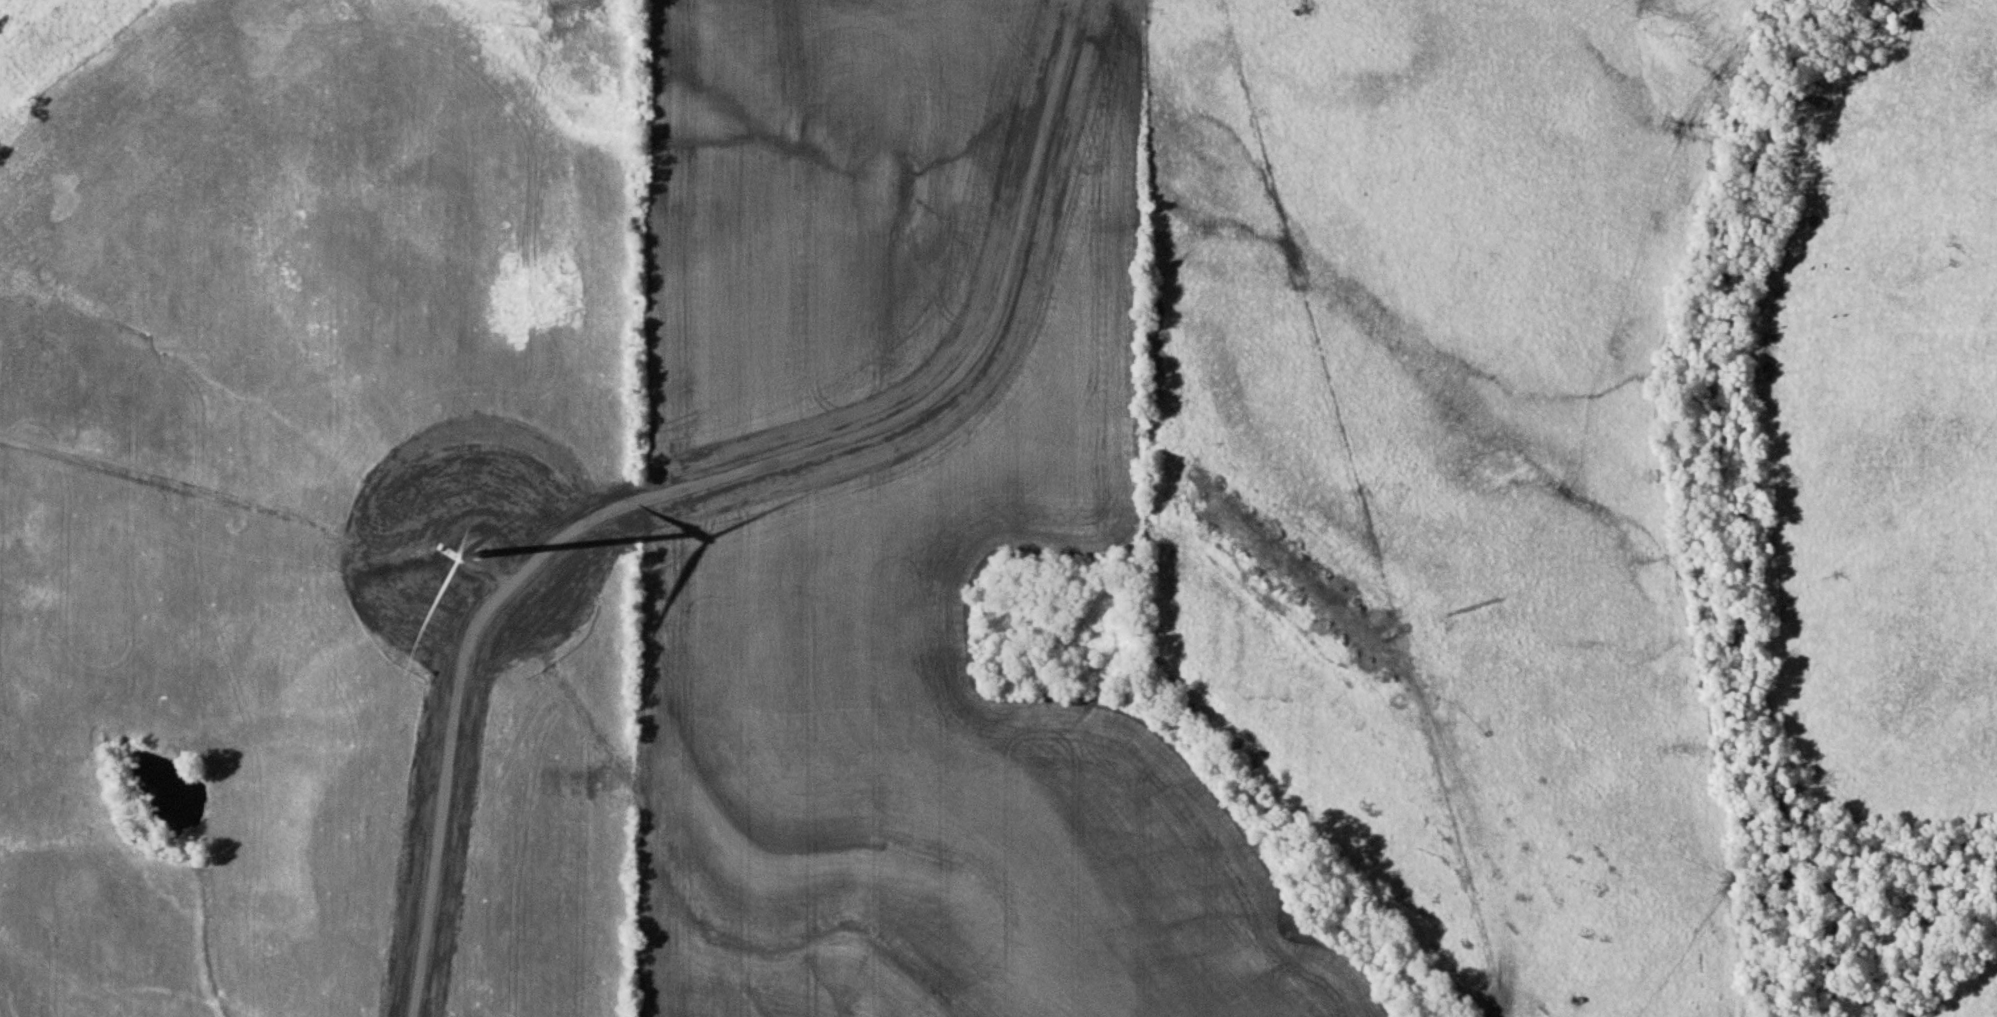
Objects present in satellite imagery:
wind turbine: (479, 552)

